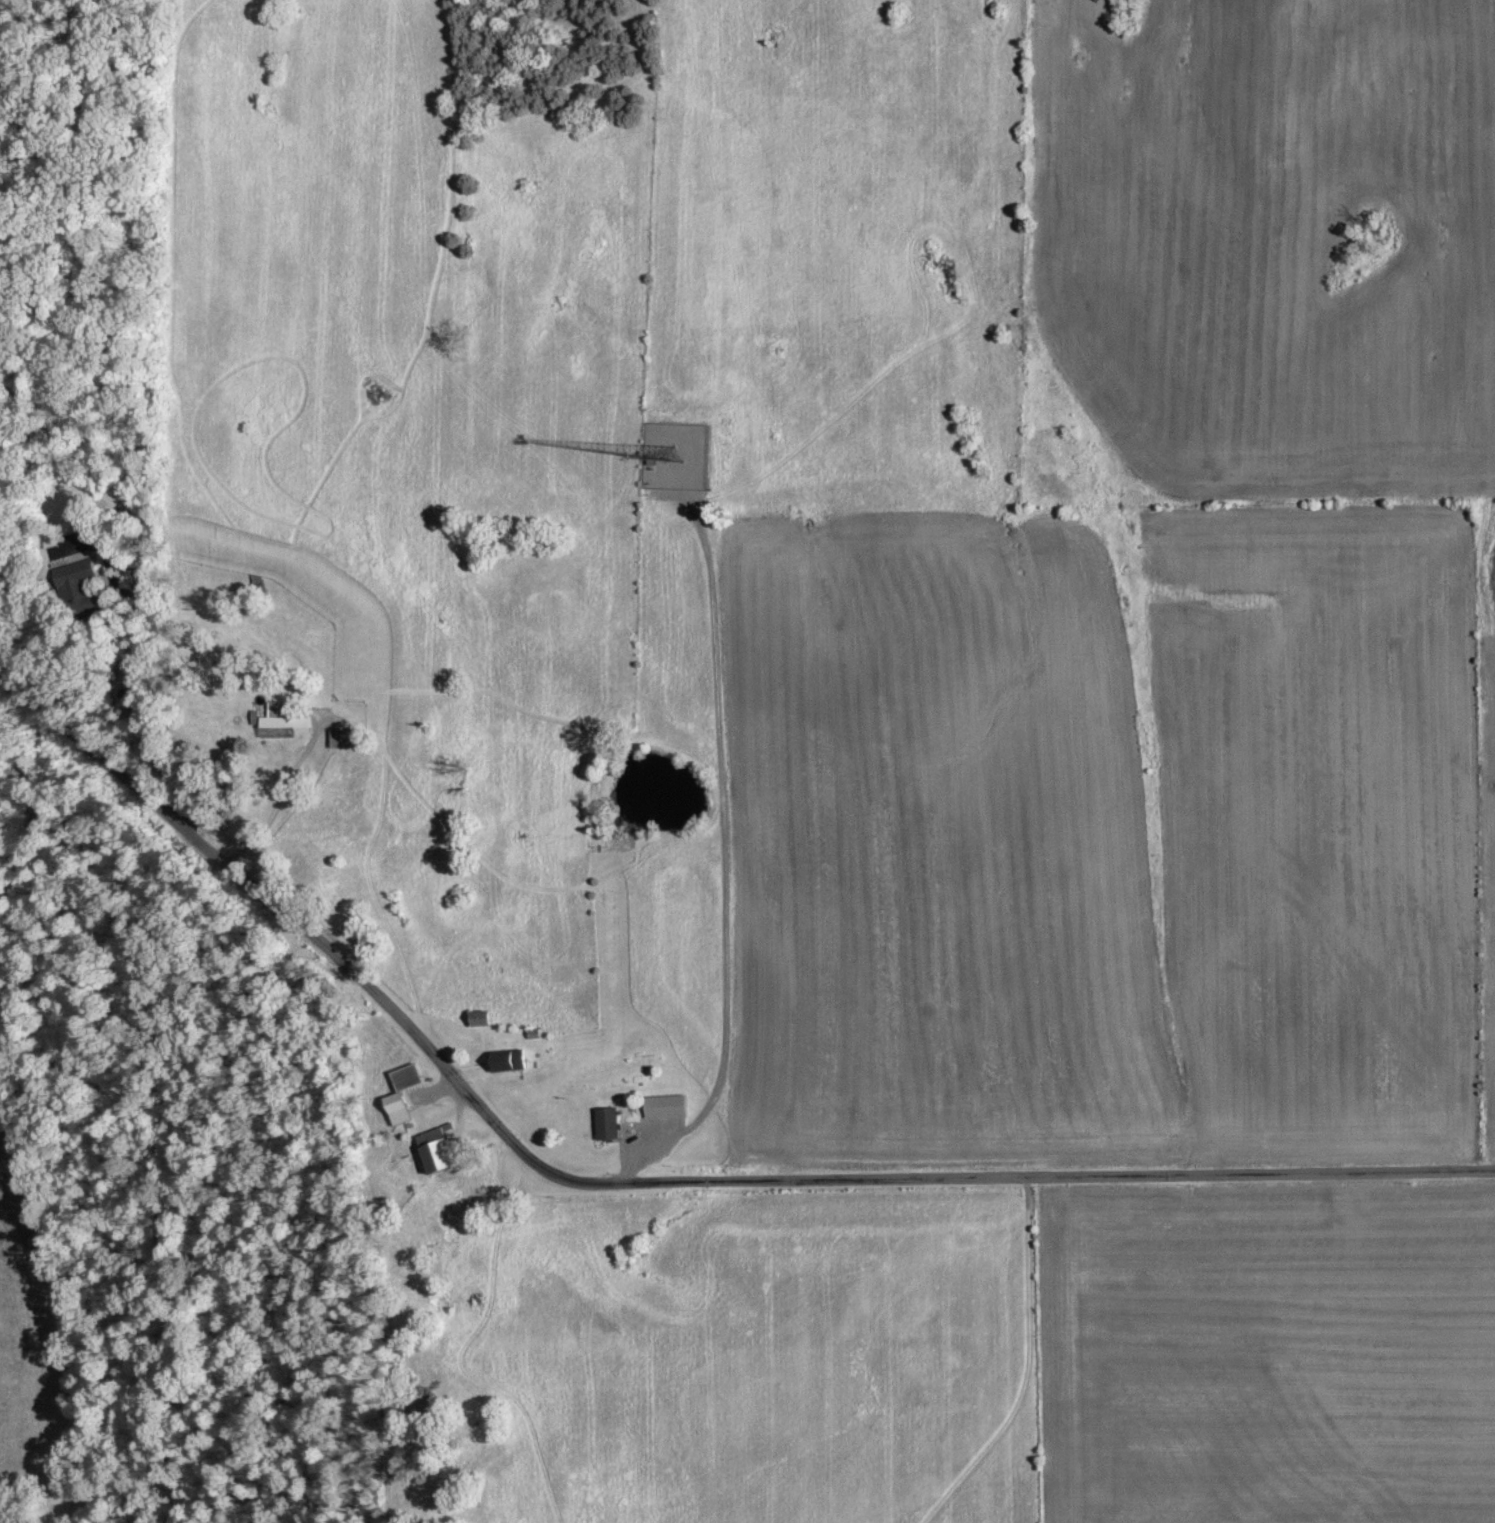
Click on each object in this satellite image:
road: (109, 574)
building: (73, 579)
road: (132, 718)
building: (283, 719)
building: (347, 739)
road: (273, 800)
road: (725, 860)
building: (506, 1061)
building: (665, 1106)
building: (606, 1123)
building: (435, 1149)
road: (655, 1181)

